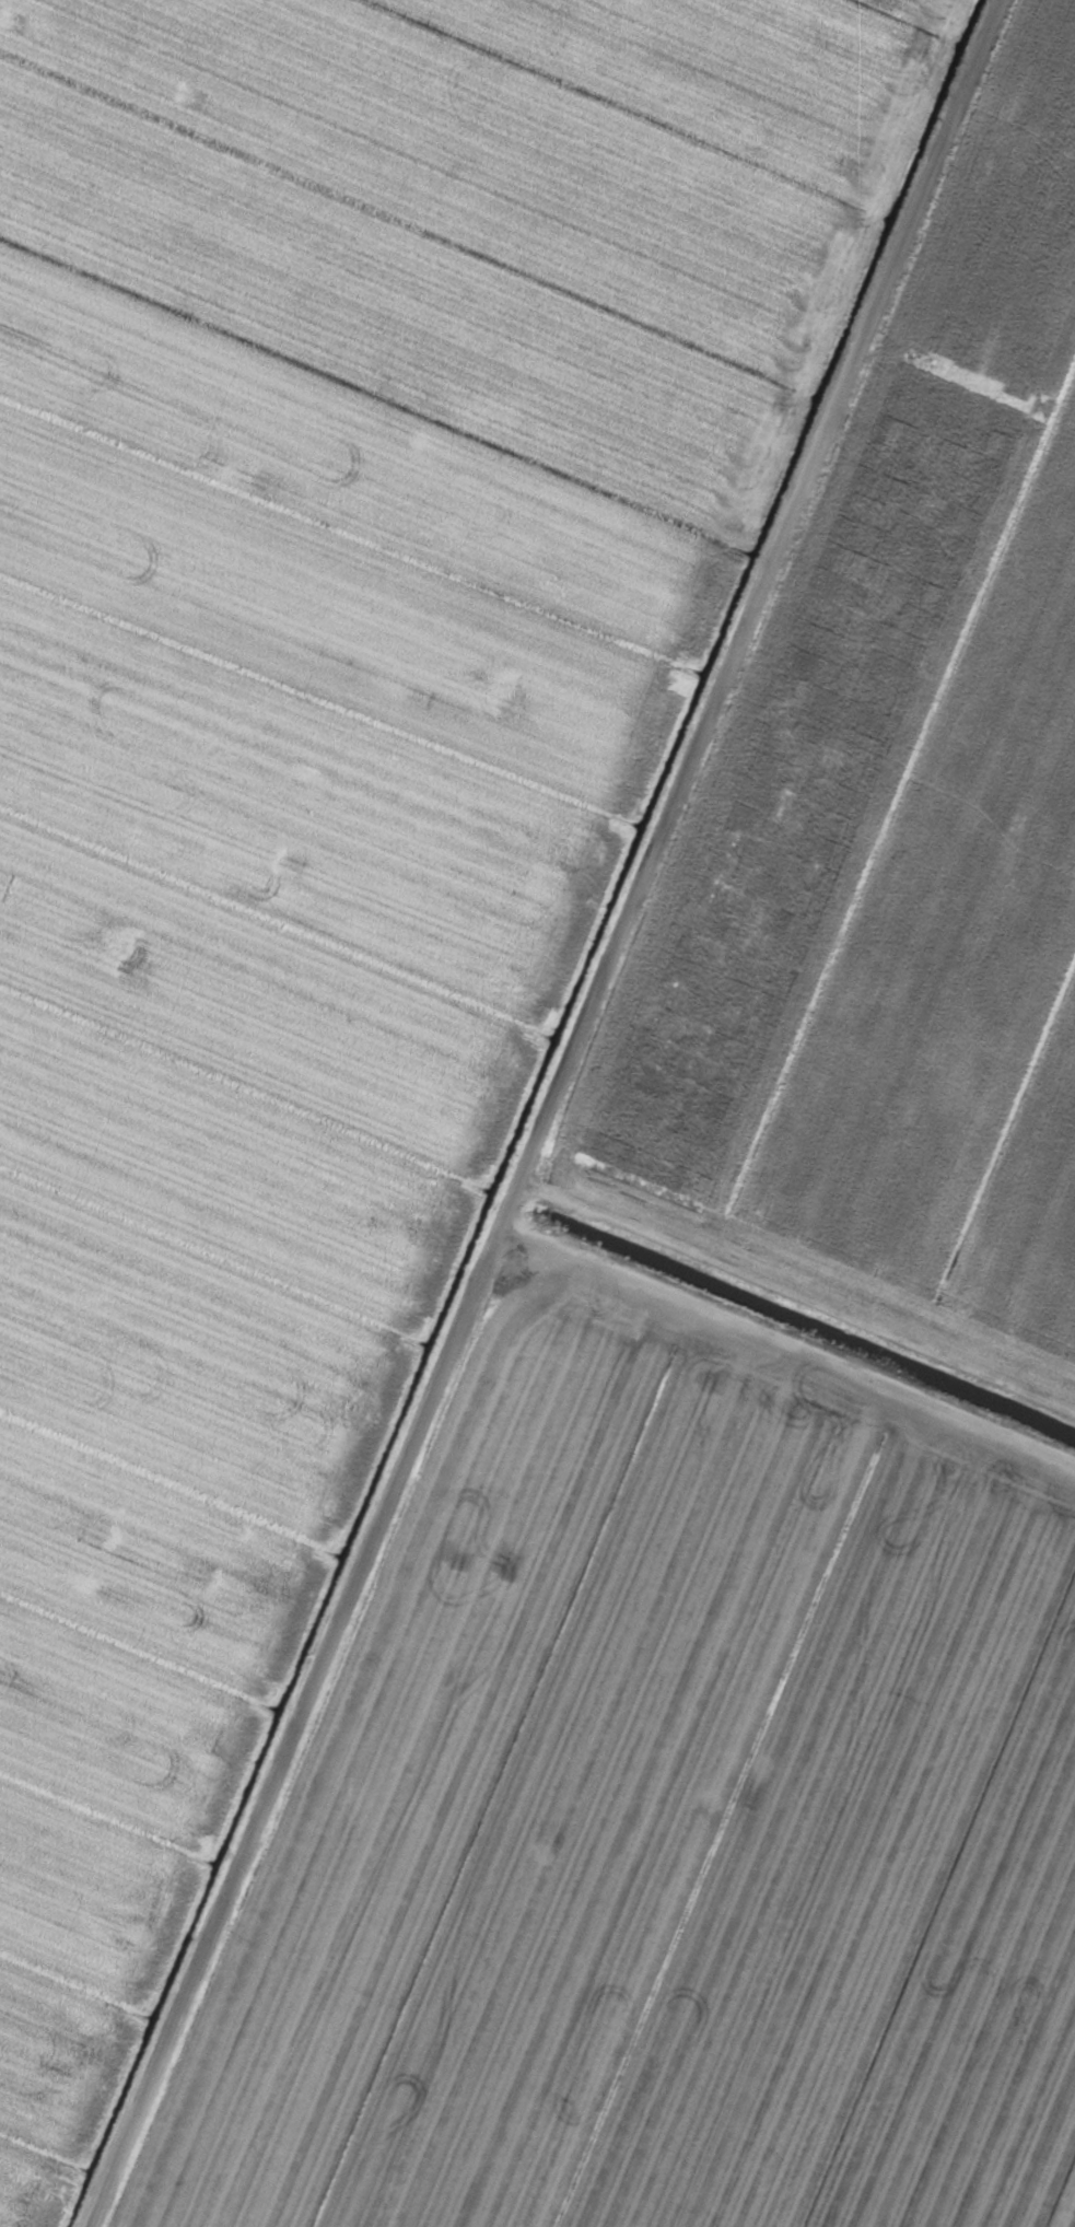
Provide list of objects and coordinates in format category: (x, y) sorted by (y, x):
crop: (537, 1113)
road: (552, 1113)

